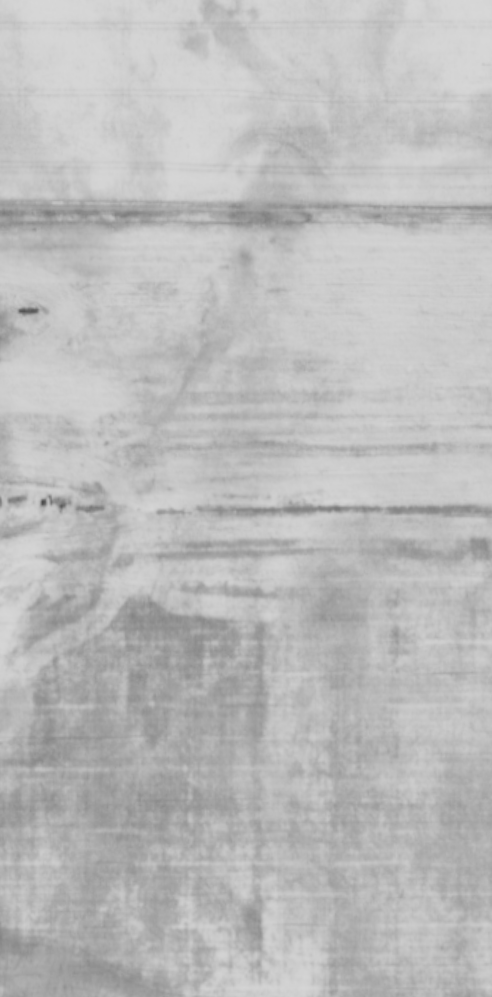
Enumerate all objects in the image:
road: (246, 208)
road: (245, 507)

